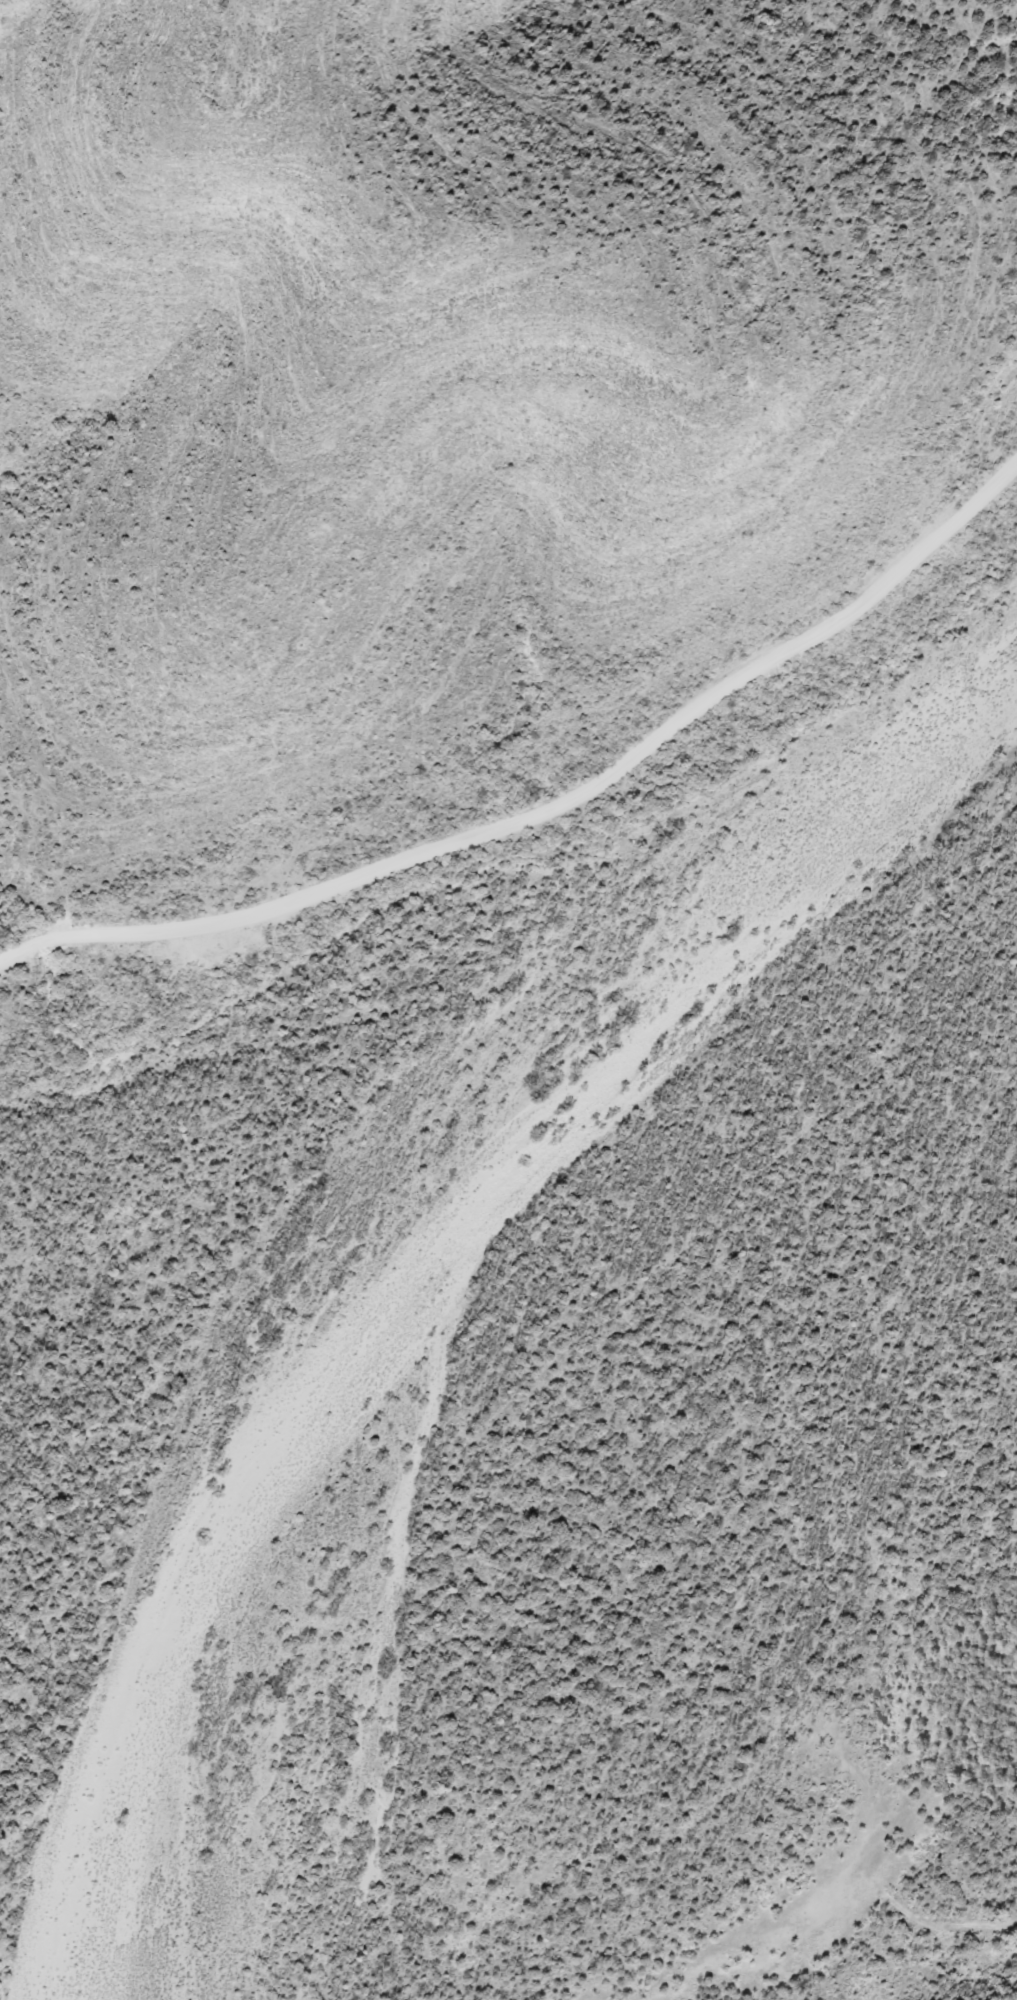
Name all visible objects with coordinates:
road: (556, 811)
river: (387, 1225)

